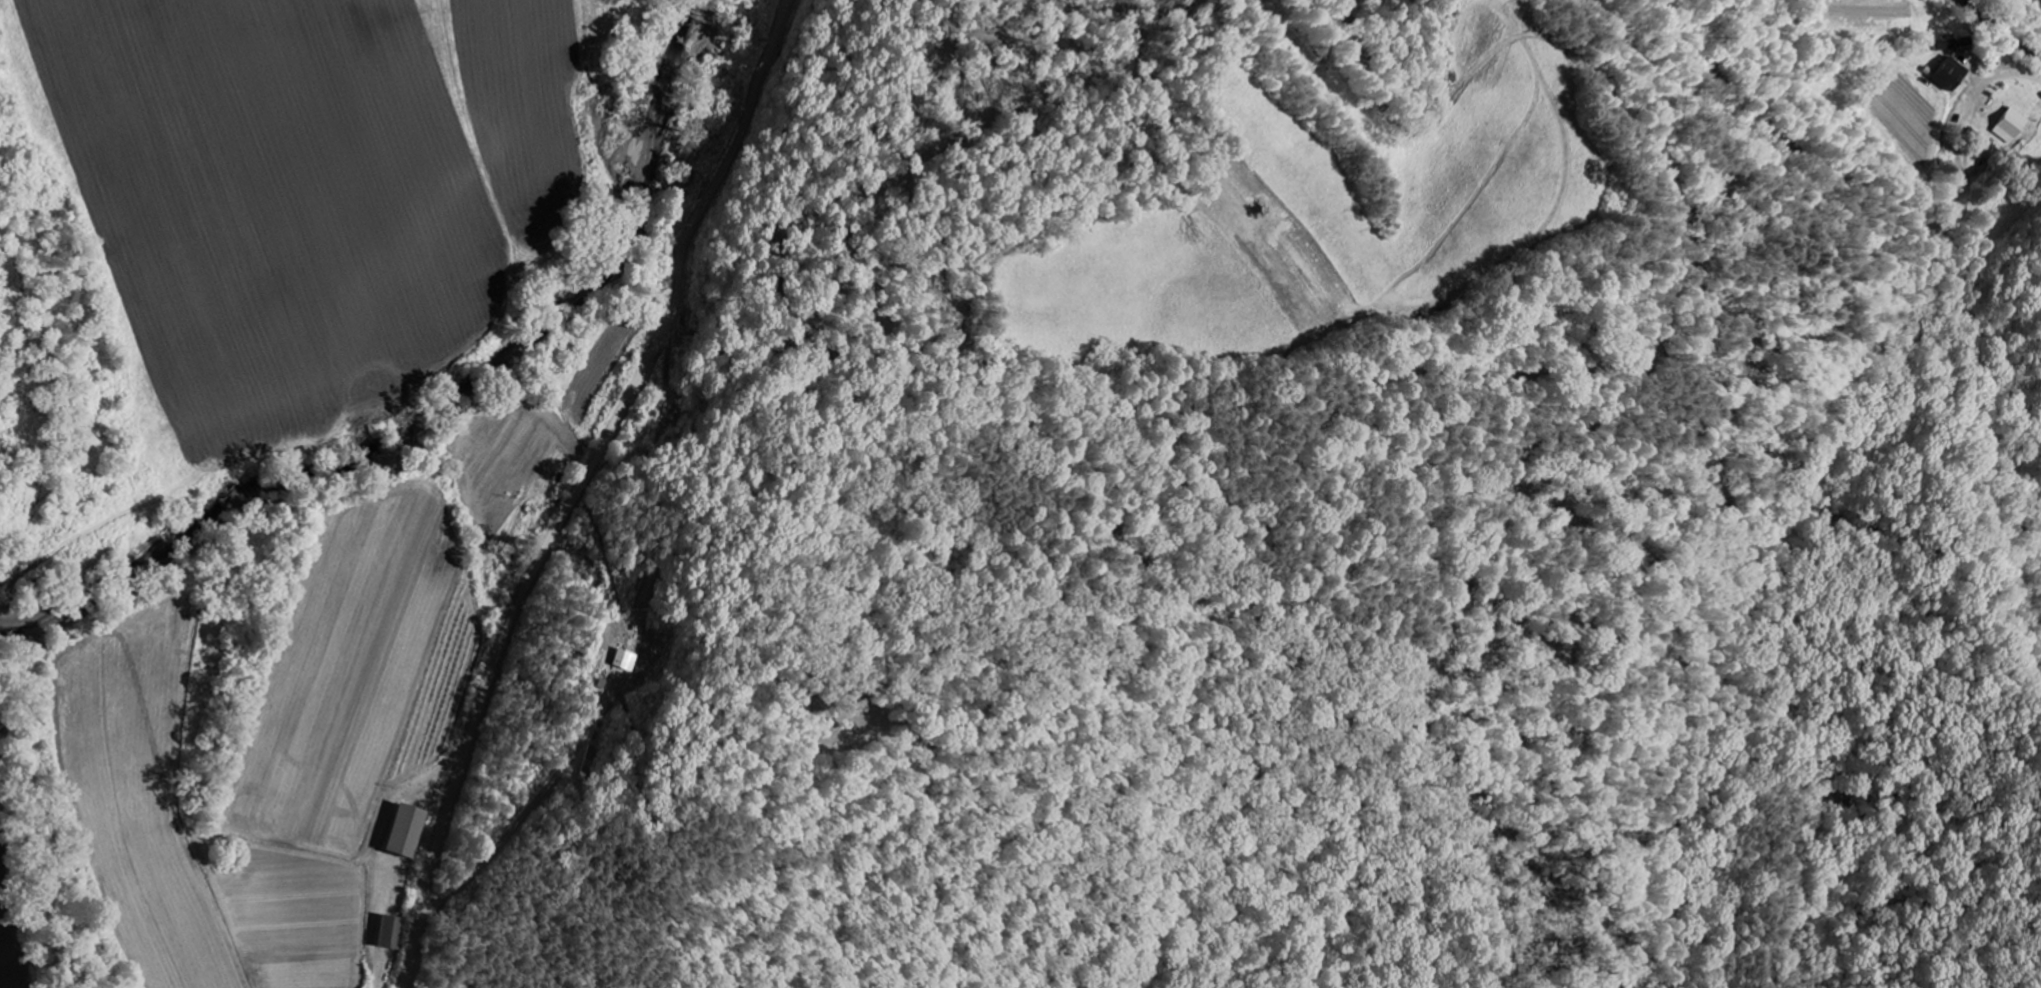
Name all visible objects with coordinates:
building: (1947, 72)
road: (2012, 75)
building: (2007, 124)
road: (583, 486)
building: (622, 659)

